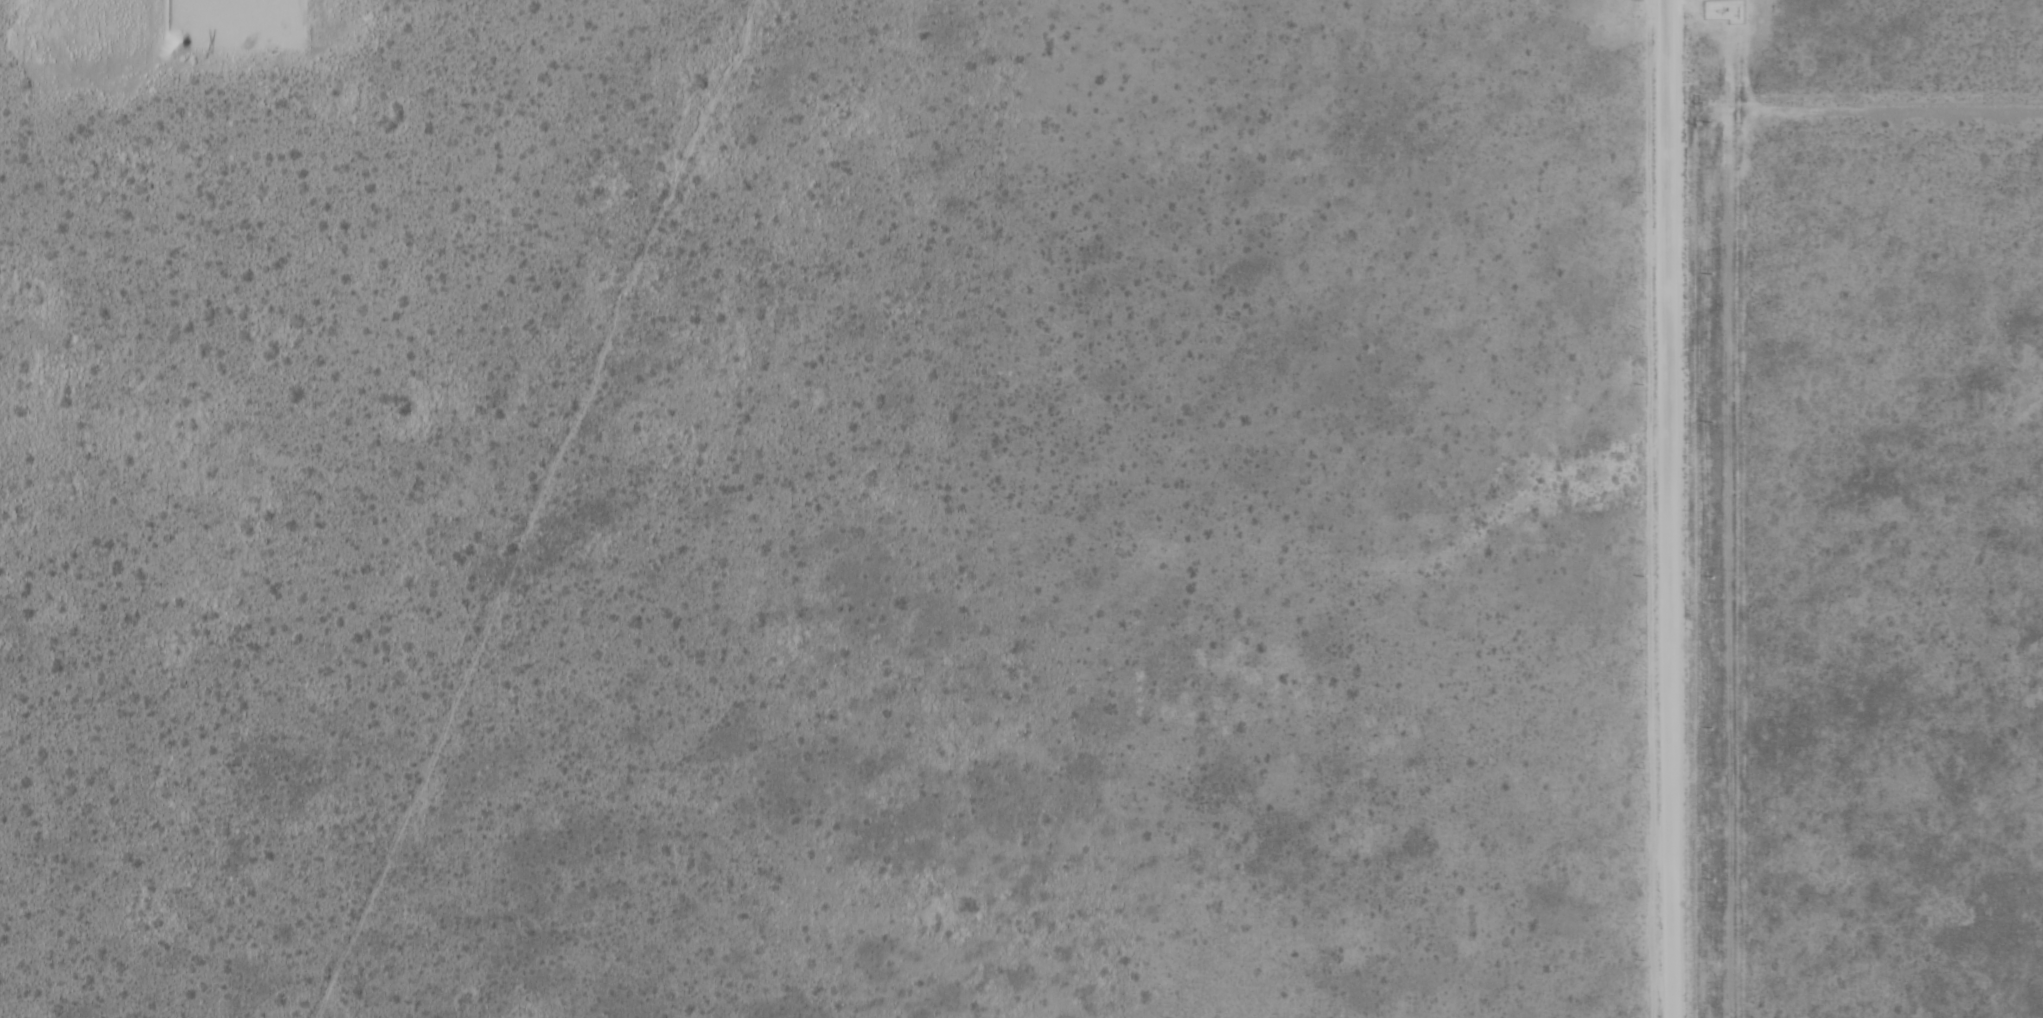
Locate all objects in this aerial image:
road: (1668, 509)

